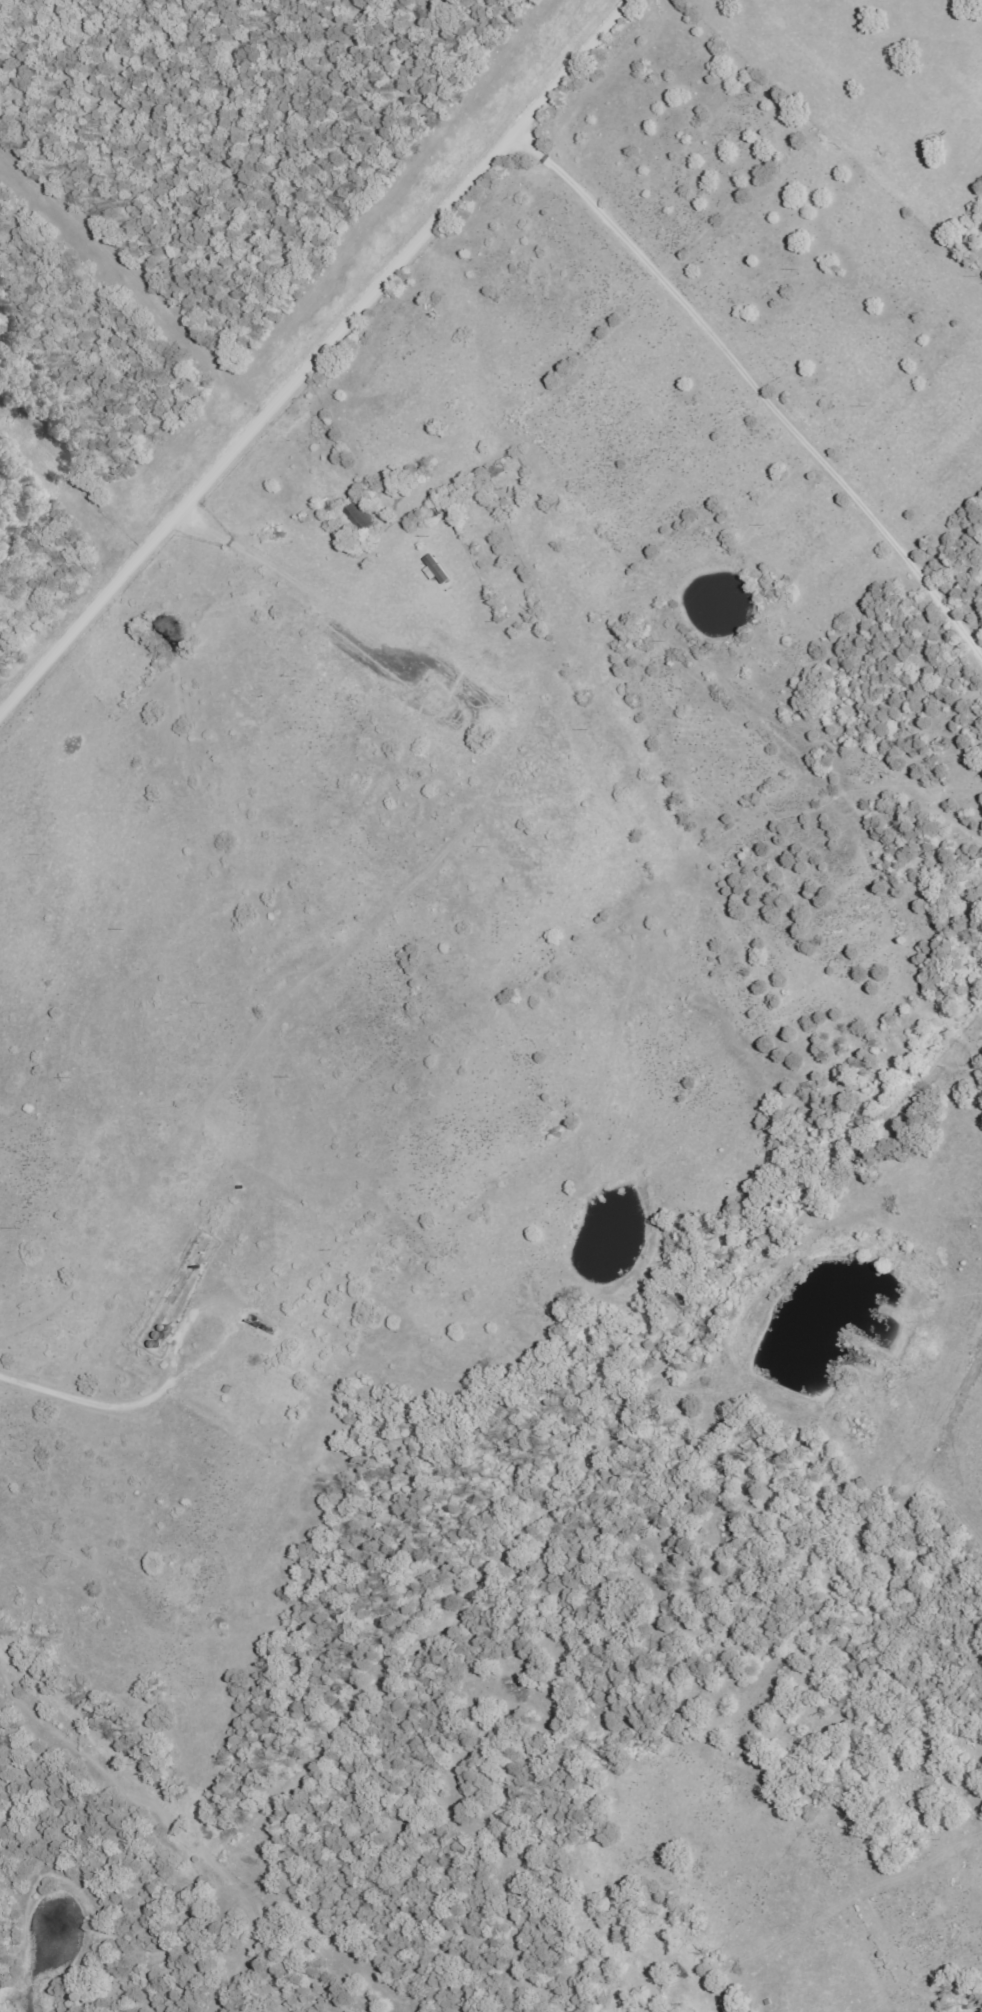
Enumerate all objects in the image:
road: (712, 332)
road: (314, 358)
road: (161, 1386)
road: (497, 1997)

